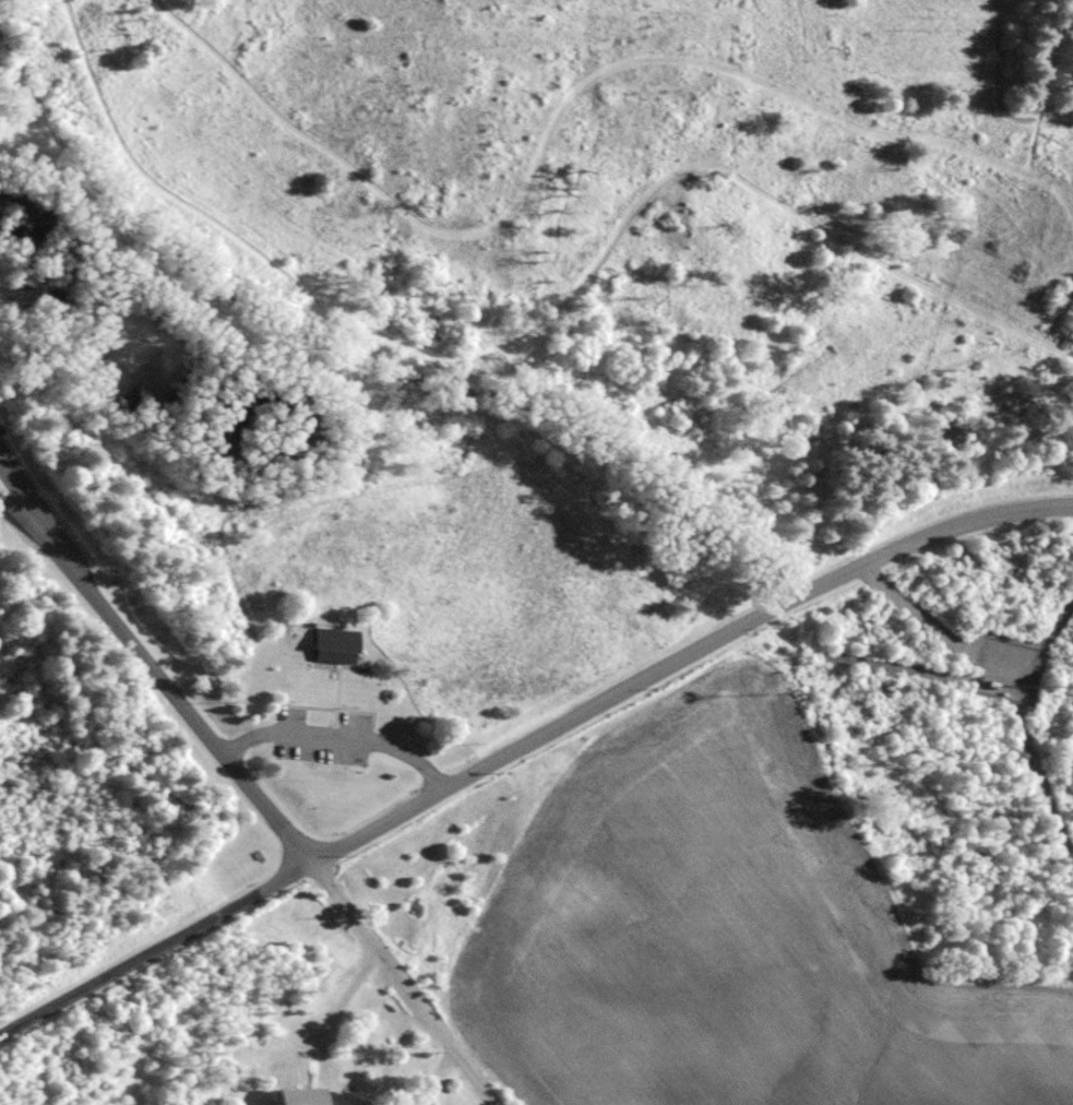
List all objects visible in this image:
road: (567, 102)
road: (555, 296)
road: (34, 527)
road: (410, 582)
building: (334, 644)
road: (152, 666)
road: (339, 740)
road: (526, 746)
road: (198, 780)
road: (400, 979)
building: (296, 1095)
road: (493, 1100)

